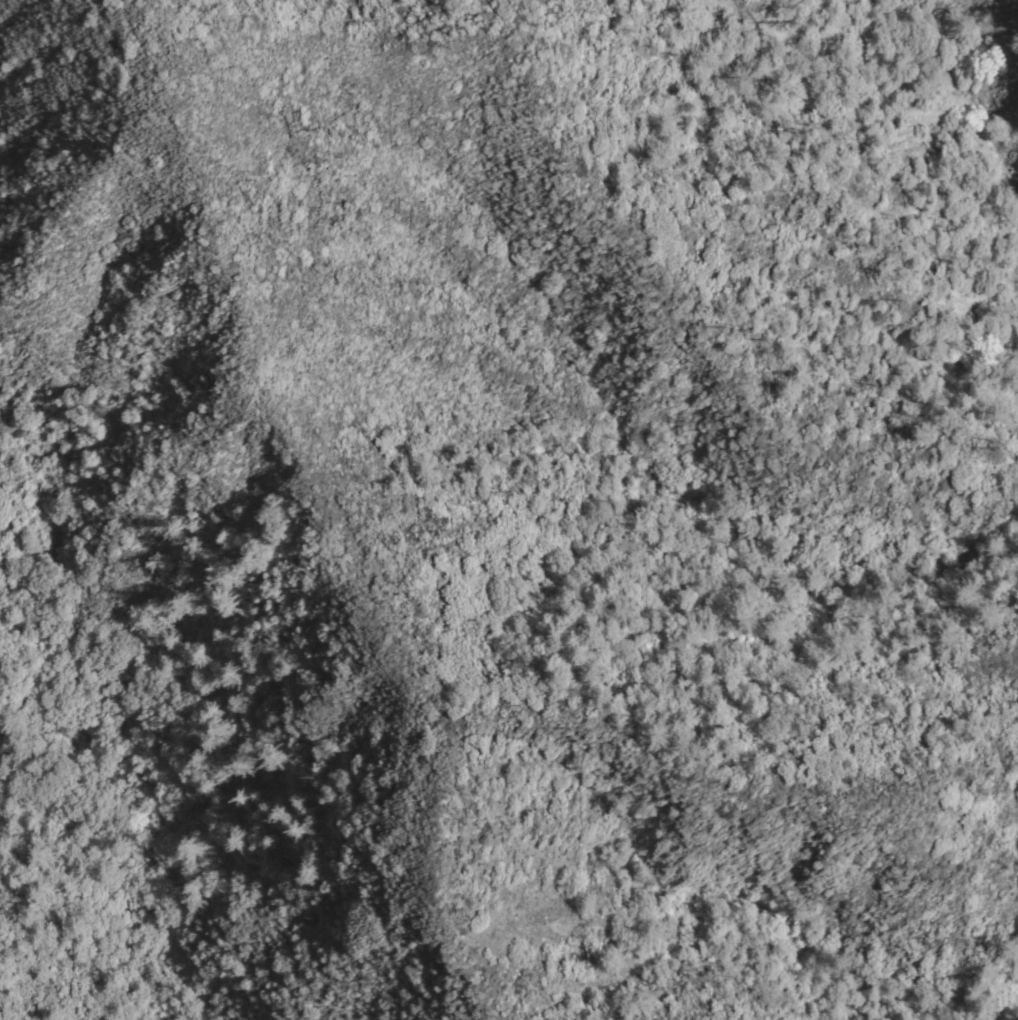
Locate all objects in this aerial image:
road: (88, 753)

